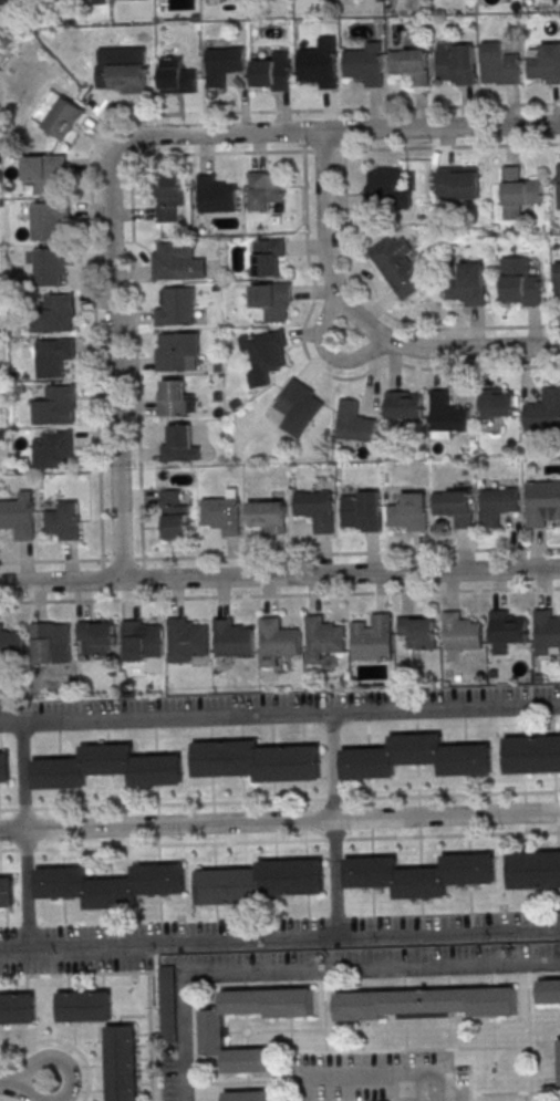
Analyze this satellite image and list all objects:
building: (97, 0)
building: (7, 1)
building: (545, 62)
building: (320, 63)
building: (364, 63)
building: (409, 63)
building: (455, 64)
building: (498, 64)
building: (222, 65)
building: (271, 73)
building: (176, 76)
building: (126, 77)
road: (345, 108)
building: (64, 118)
road: (126, 148)
road: (149, 157)
building: (44, 172)
building: (458, 183)
building: (558, 185)
building: (385, 188)
building: (262, 189)
building: (518, 193)
building: (215, 194)
building: (168, 197)
building: (46, 221)
building: (267, 258)
building: (174, 261)
building: (50, 267)
building: (398, 267)
building: (519, 282)
building: (557, 282)
building: (465, 283)
building: (271, 300)
building: (176, 308)
building: (54, 313)
road: (362, 322)
road: (93, 325)
road: (497, 326)
road: (324, 349)
building: (266, 350)
building: (178, 352)
building: (52, 355)
road: (471, 368)
building: (174, 398)
building: (497, 403)
building: (403, 405)
building: (55, 406)
building: (298, 407)
building: (447, 413)
building: (546, 413)
building: (354, 422)
building: (179, 445)
building: (52, 449)
building: (542, 502)
building: (496, 505)
building: (455, 507)
building: (317, 509)
building: (360, 510)
building: (408, 512)
building: (173, 513)
building: (222, 513)
building: (18, 516)
building: (267, 516)
building: (64, 520)
road: (330, 553)
road: (279, 575)
road: (280, 594)
building: (507, 627)
building: (418, 631)
building: (460, 632)
building: (547, 632)
building: (95, 637)
building: (278, 637)
building: (322, 637)
building: (372, 637)
building: (230, 638)
building: (139, 640)
building: (186, 640)
building: (50, 642)
building: (11, 644)
road: (392, 710)
road: (165, 718)
building: (532, 755)
building: (416, 757)
building: (257, 760)
building: (4, 767)
building: (106, 768)
road: (23, 777)
road: (280, 800)
road: (280, 821)
road: (279, 840)
building: (535, 870)
building: (418, 874)
building: (260, 882)
building: (110, 884)
road: (25, 889)
building: (6, 892)
road: (447, 932)
parking lot: (250, 937)
road: (225, 939)
road: (308, 972)
building: (549, 990)
building: (167, 1003)
building: (426, 1003)
building: (85, 1006)
building: (18, 1008)
building: (214, 1032)
building: (559, 1053)
building: (122, 1063)
road: (25, 1078)
road: (364, 1082)
road: (51, 1089)
building: (247, 1094)

